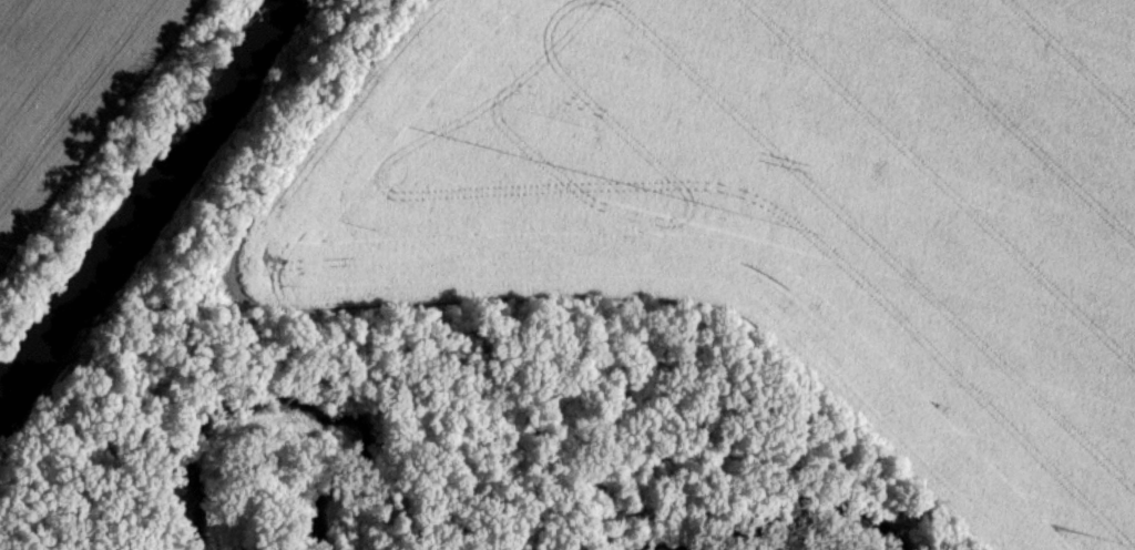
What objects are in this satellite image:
river: (161, 186)

